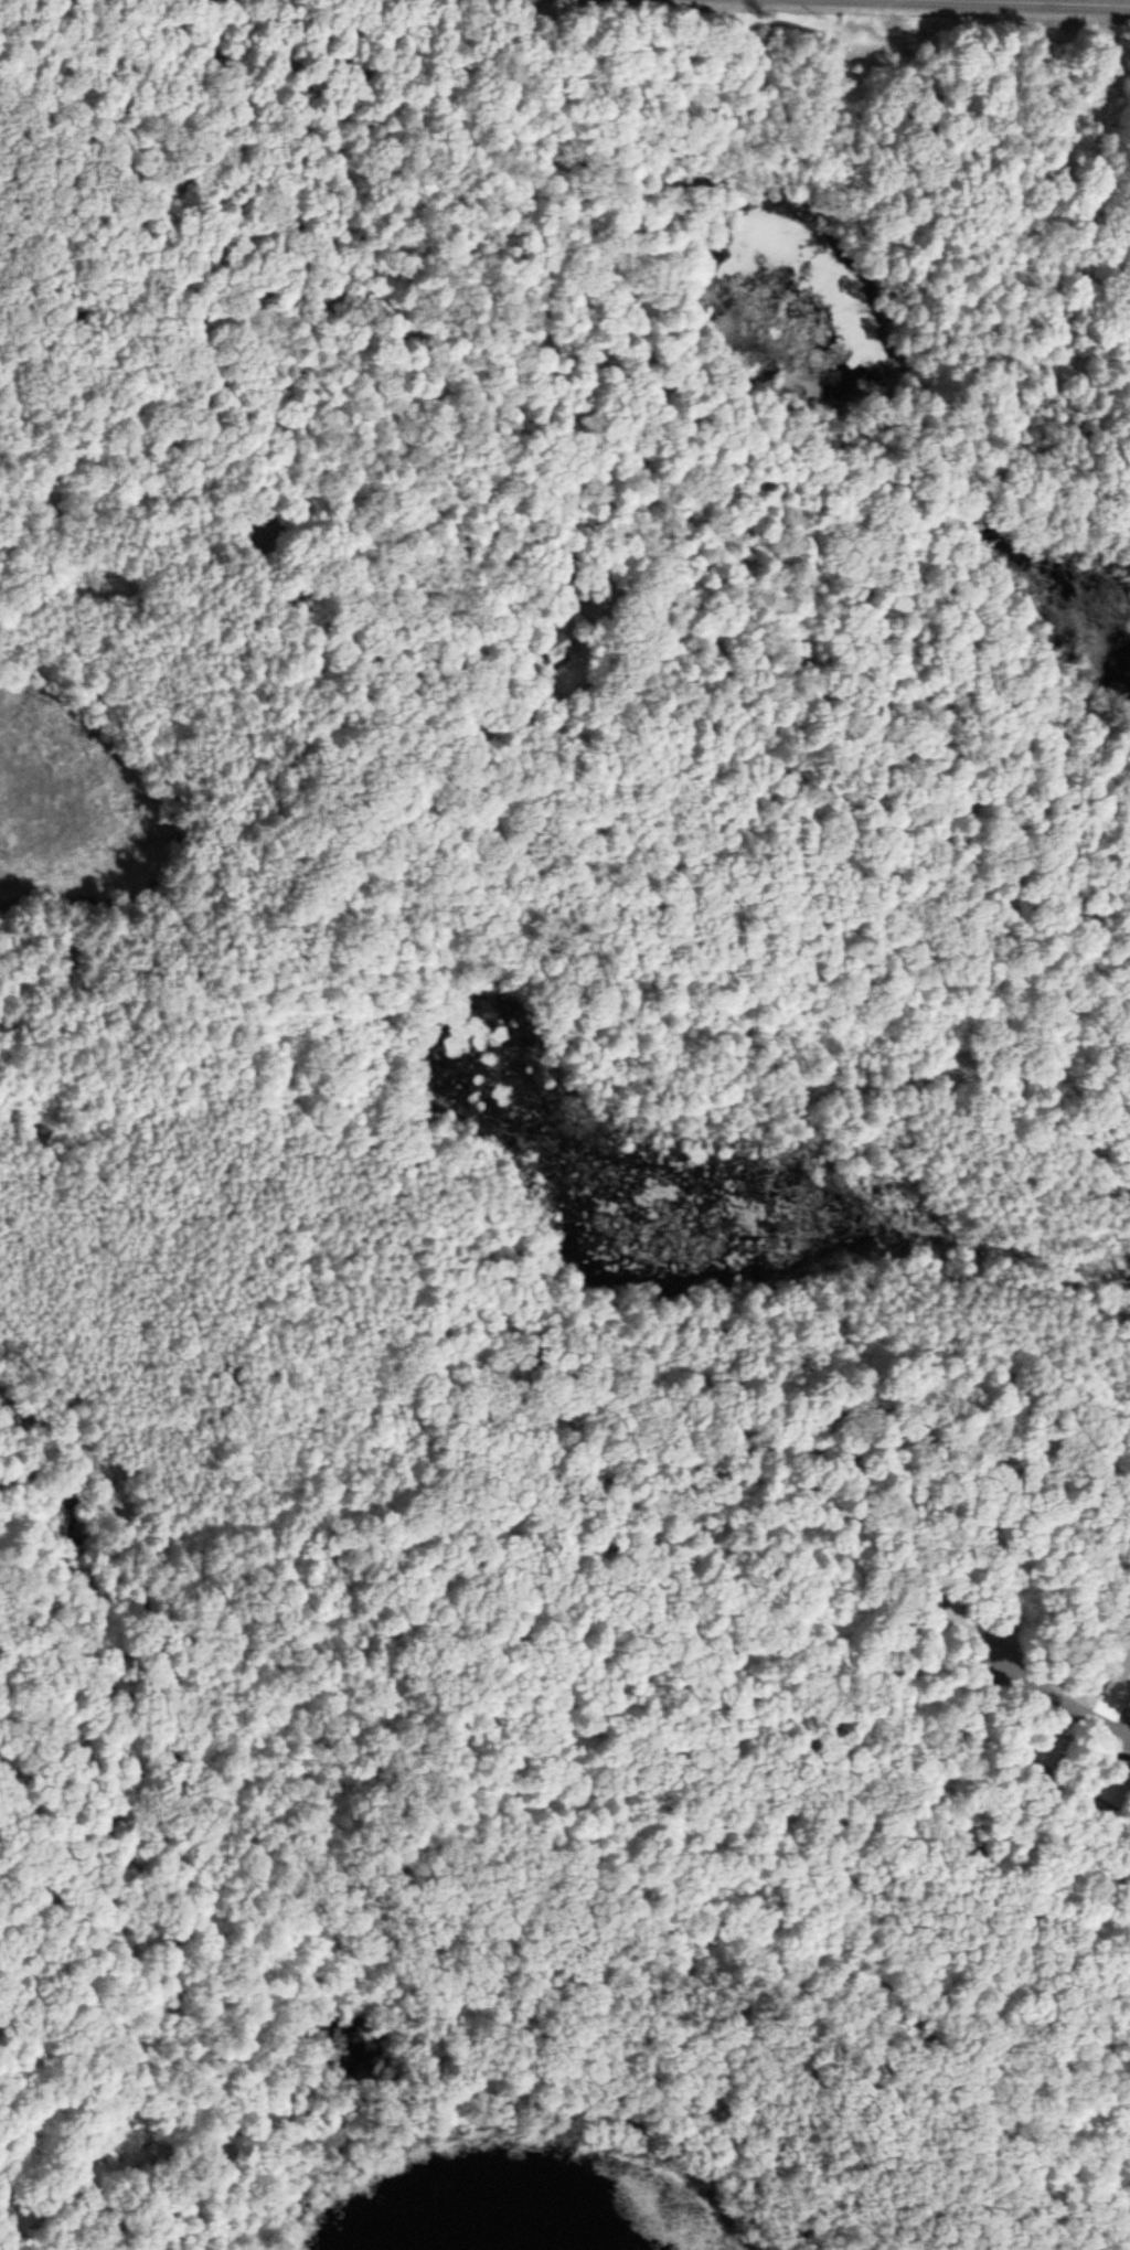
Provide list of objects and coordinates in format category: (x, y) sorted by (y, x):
road: (1034, 3)
road: (46, 100)
building: (558, 650)
road: (1064, 1700)
building: (1045, 1748)
road: (169, 1756)
building: (1115, 1780)
road: (459, 2086)
road: (33, 2227)

